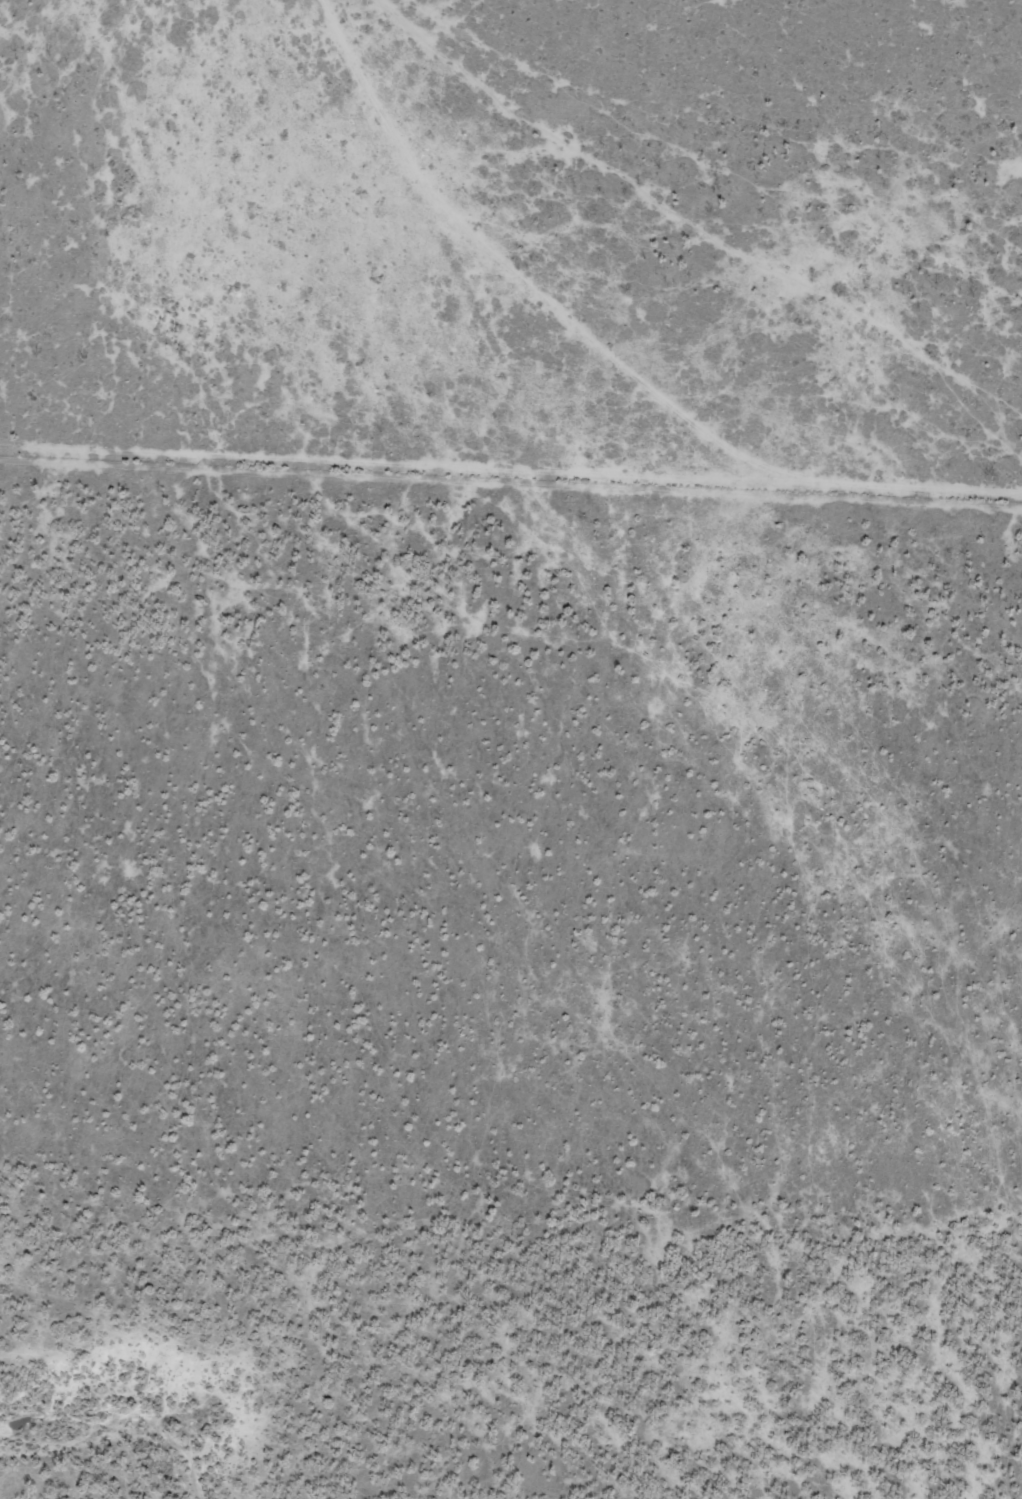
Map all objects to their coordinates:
road: (628, 560)

